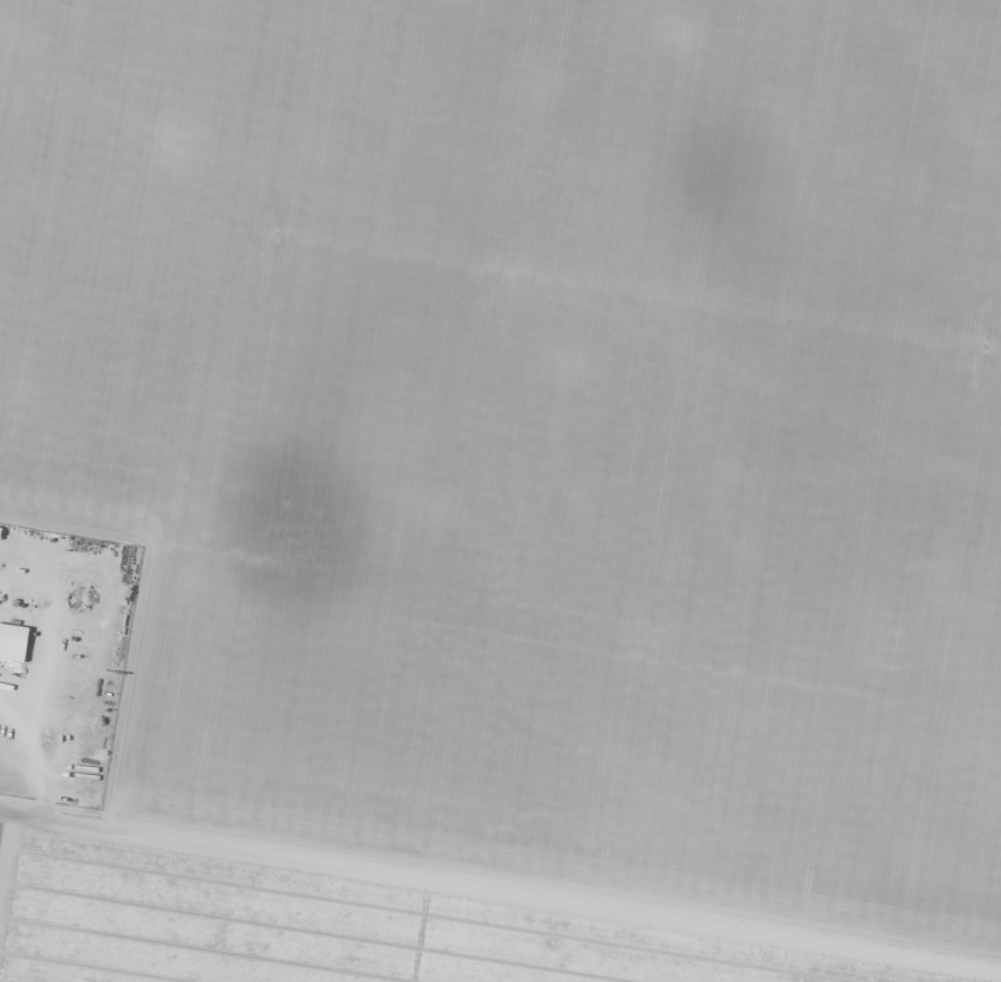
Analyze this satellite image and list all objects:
road: (500, 893)

